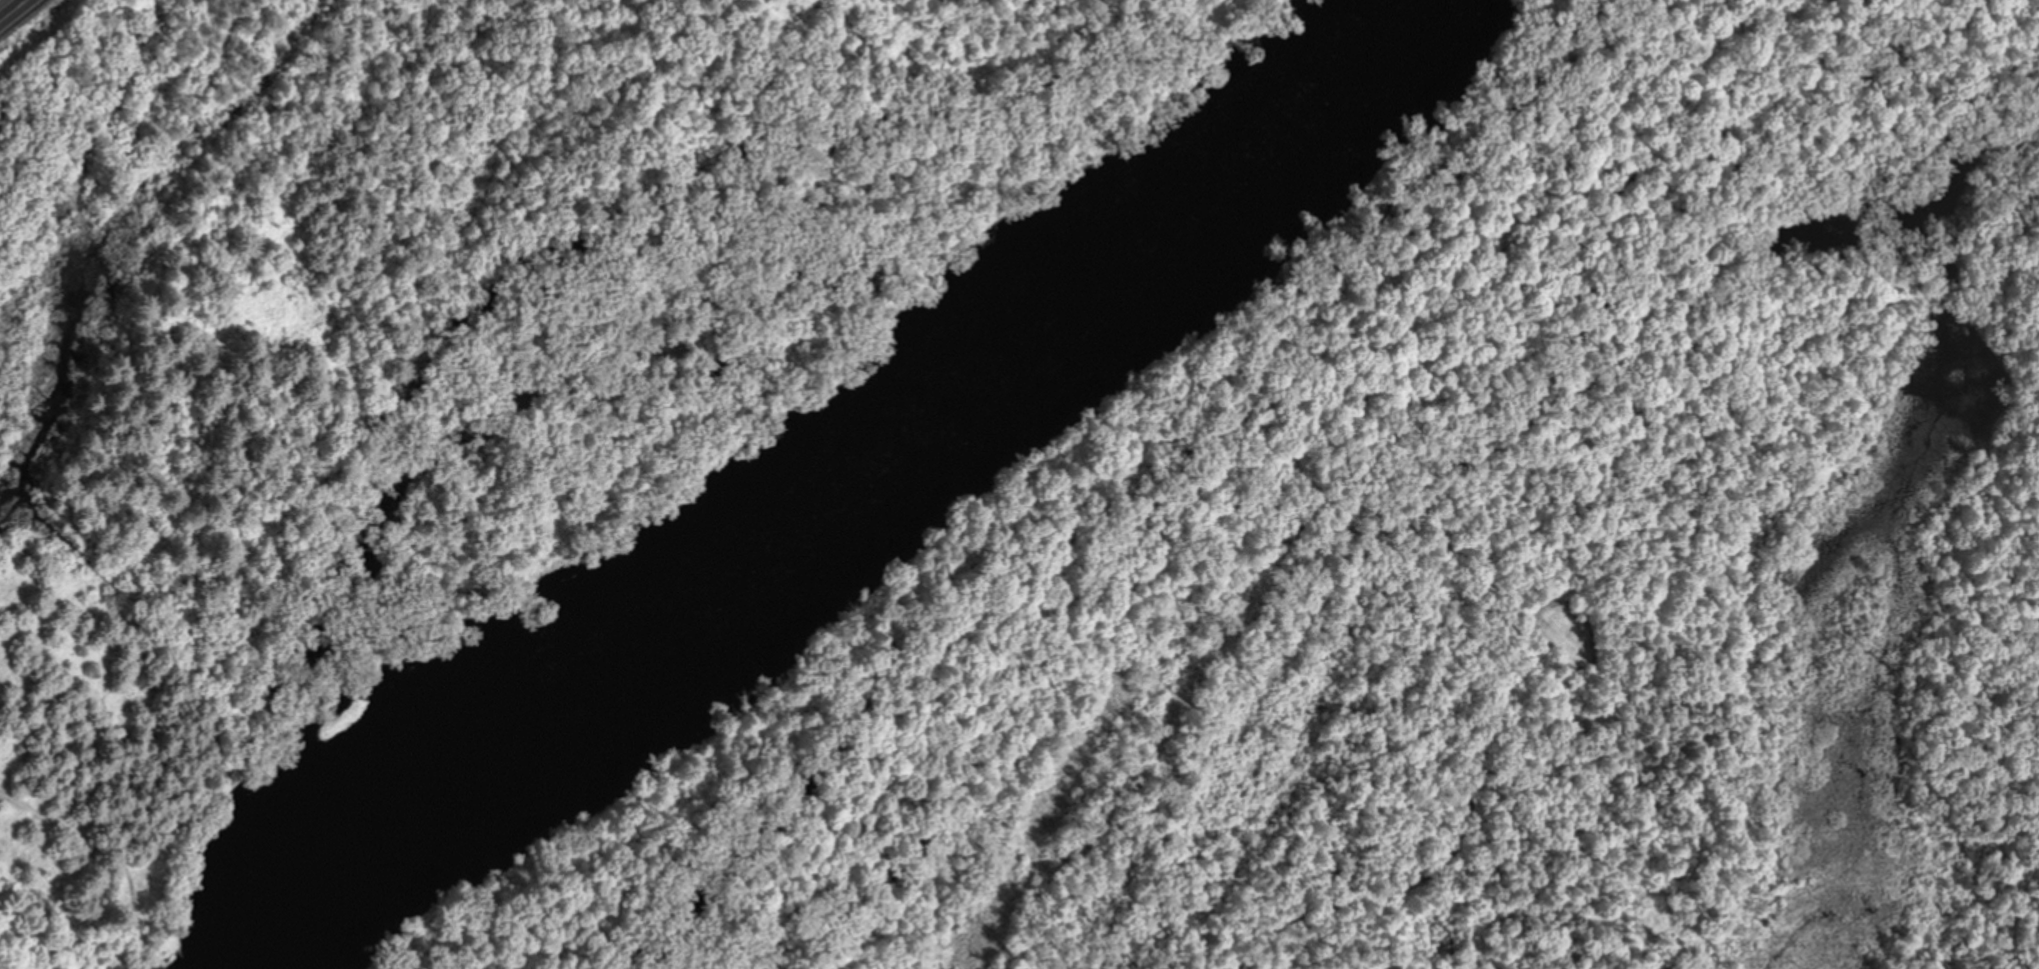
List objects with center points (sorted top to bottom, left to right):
road: (12, 10)
river: (852, 479)

